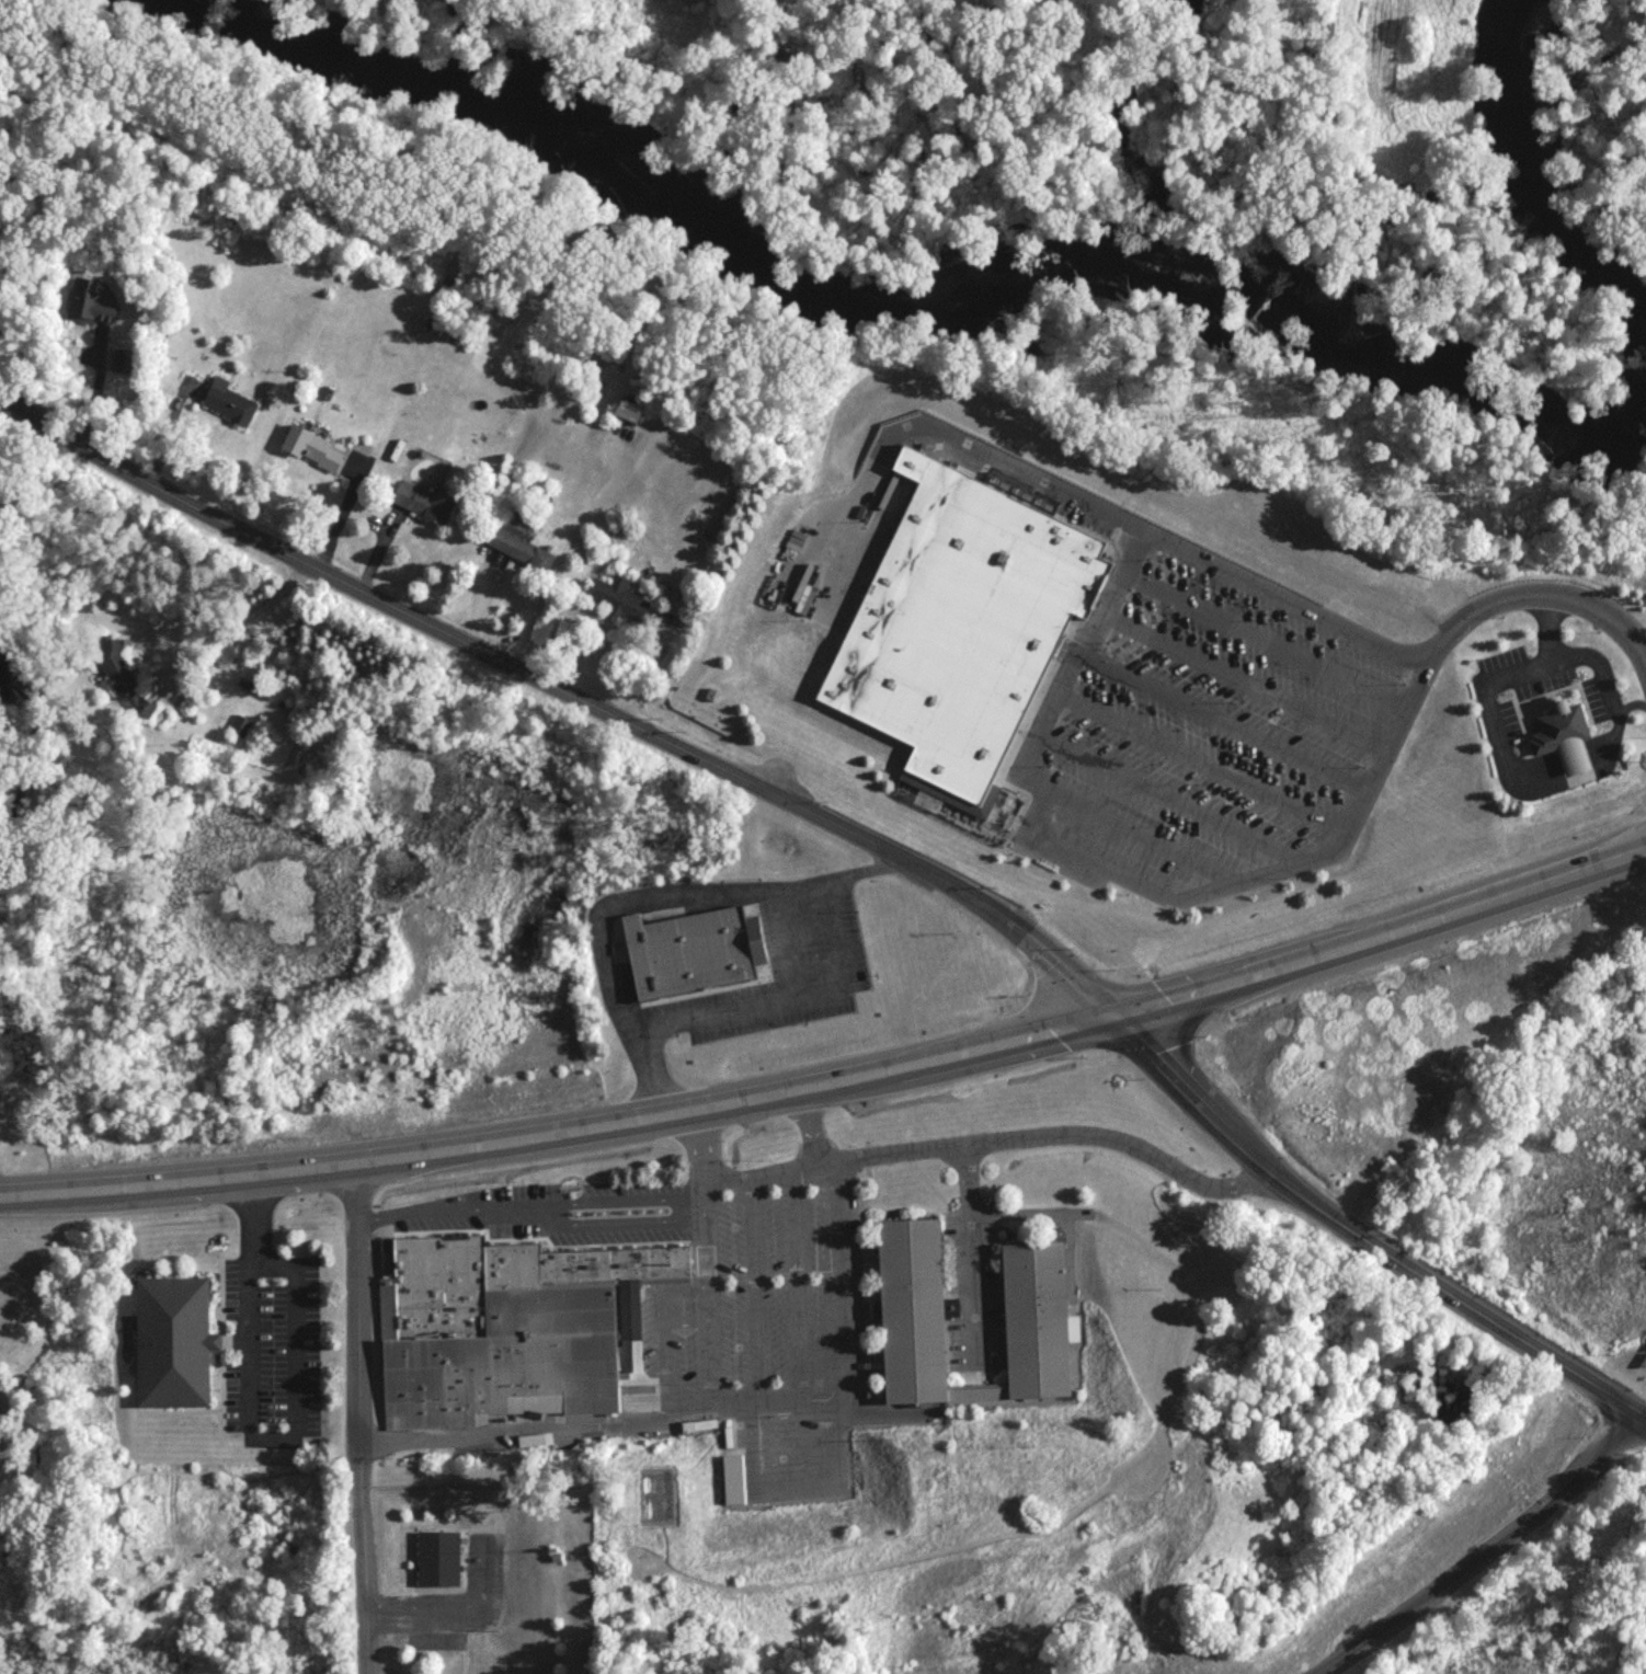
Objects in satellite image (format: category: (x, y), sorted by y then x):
road: (721, 84)
river: (1528, 183)
river: (911, 305)
building: (90, 309)
building: (229, 409)
building: (628, 416)
building: (312, 455)
building: (421, 508)
road: (850, 521)
road: (1150, 535)
building: (518, 555)
road: (1539, 596)
building: (618, 605)
building: (960, 631)
road: (1266, 644)
road: (1500, 673)
road: (1599, 679)
building: (122, 683)
road: (1247, 686)
road: (569, 690)
road: (1222, 726)
parking lot: (1209, 739)
building: (1563, 743)
road: (1202, 768)
road: (1169, 802)
road: (1134, 836)
road: (1120, 884)
road: (664, 909)
building: (691, 959)
road: (785, 996)
traffic signals: (1120, 1018)
road: (835, 1087)
building: (1374, 1113)
road: (814, 1131)
road: (990, 1144)
road: (696, 1154)
flagpole: (559, 1188)
flagpole: (570, 1188)
flagpole: (564, 1192)
road: (527, 1201)
road: (1363, 1241)
road: (961, 1254)
building: (1027, 1276)
road: (795, 1284)
road: (752, 1287)
road: (825, 1295)
road: (700, 1296)
building: (503, 1325)
road: (652, 1330)
building: (169, 1339)
road: (355, 1421)
building: (686, 1422)
road: (578, 1423)
road: (252, 1431)
building: (699, 1432)
building: (723, 1477)
building: (549, 1553)
road: (1478, 1553)
building: (433, 1556)
road: (415, 1607)

